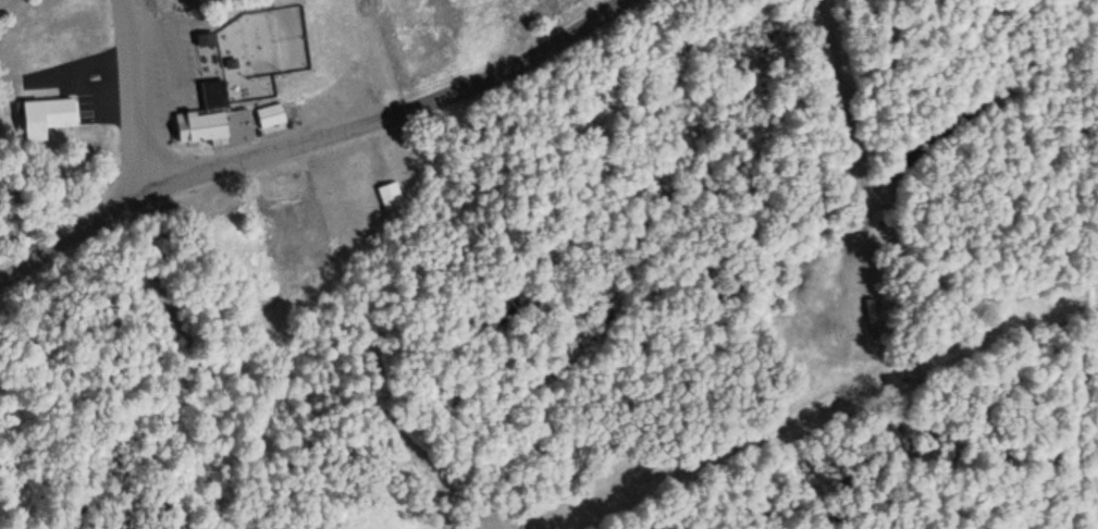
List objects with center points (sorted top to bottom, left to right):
building: (209, 71)
road: (129, 95)
building: (268, 114)
building: (44, 115)
building: (199, 125)
road: (308, 136)
building: (388, 195)

